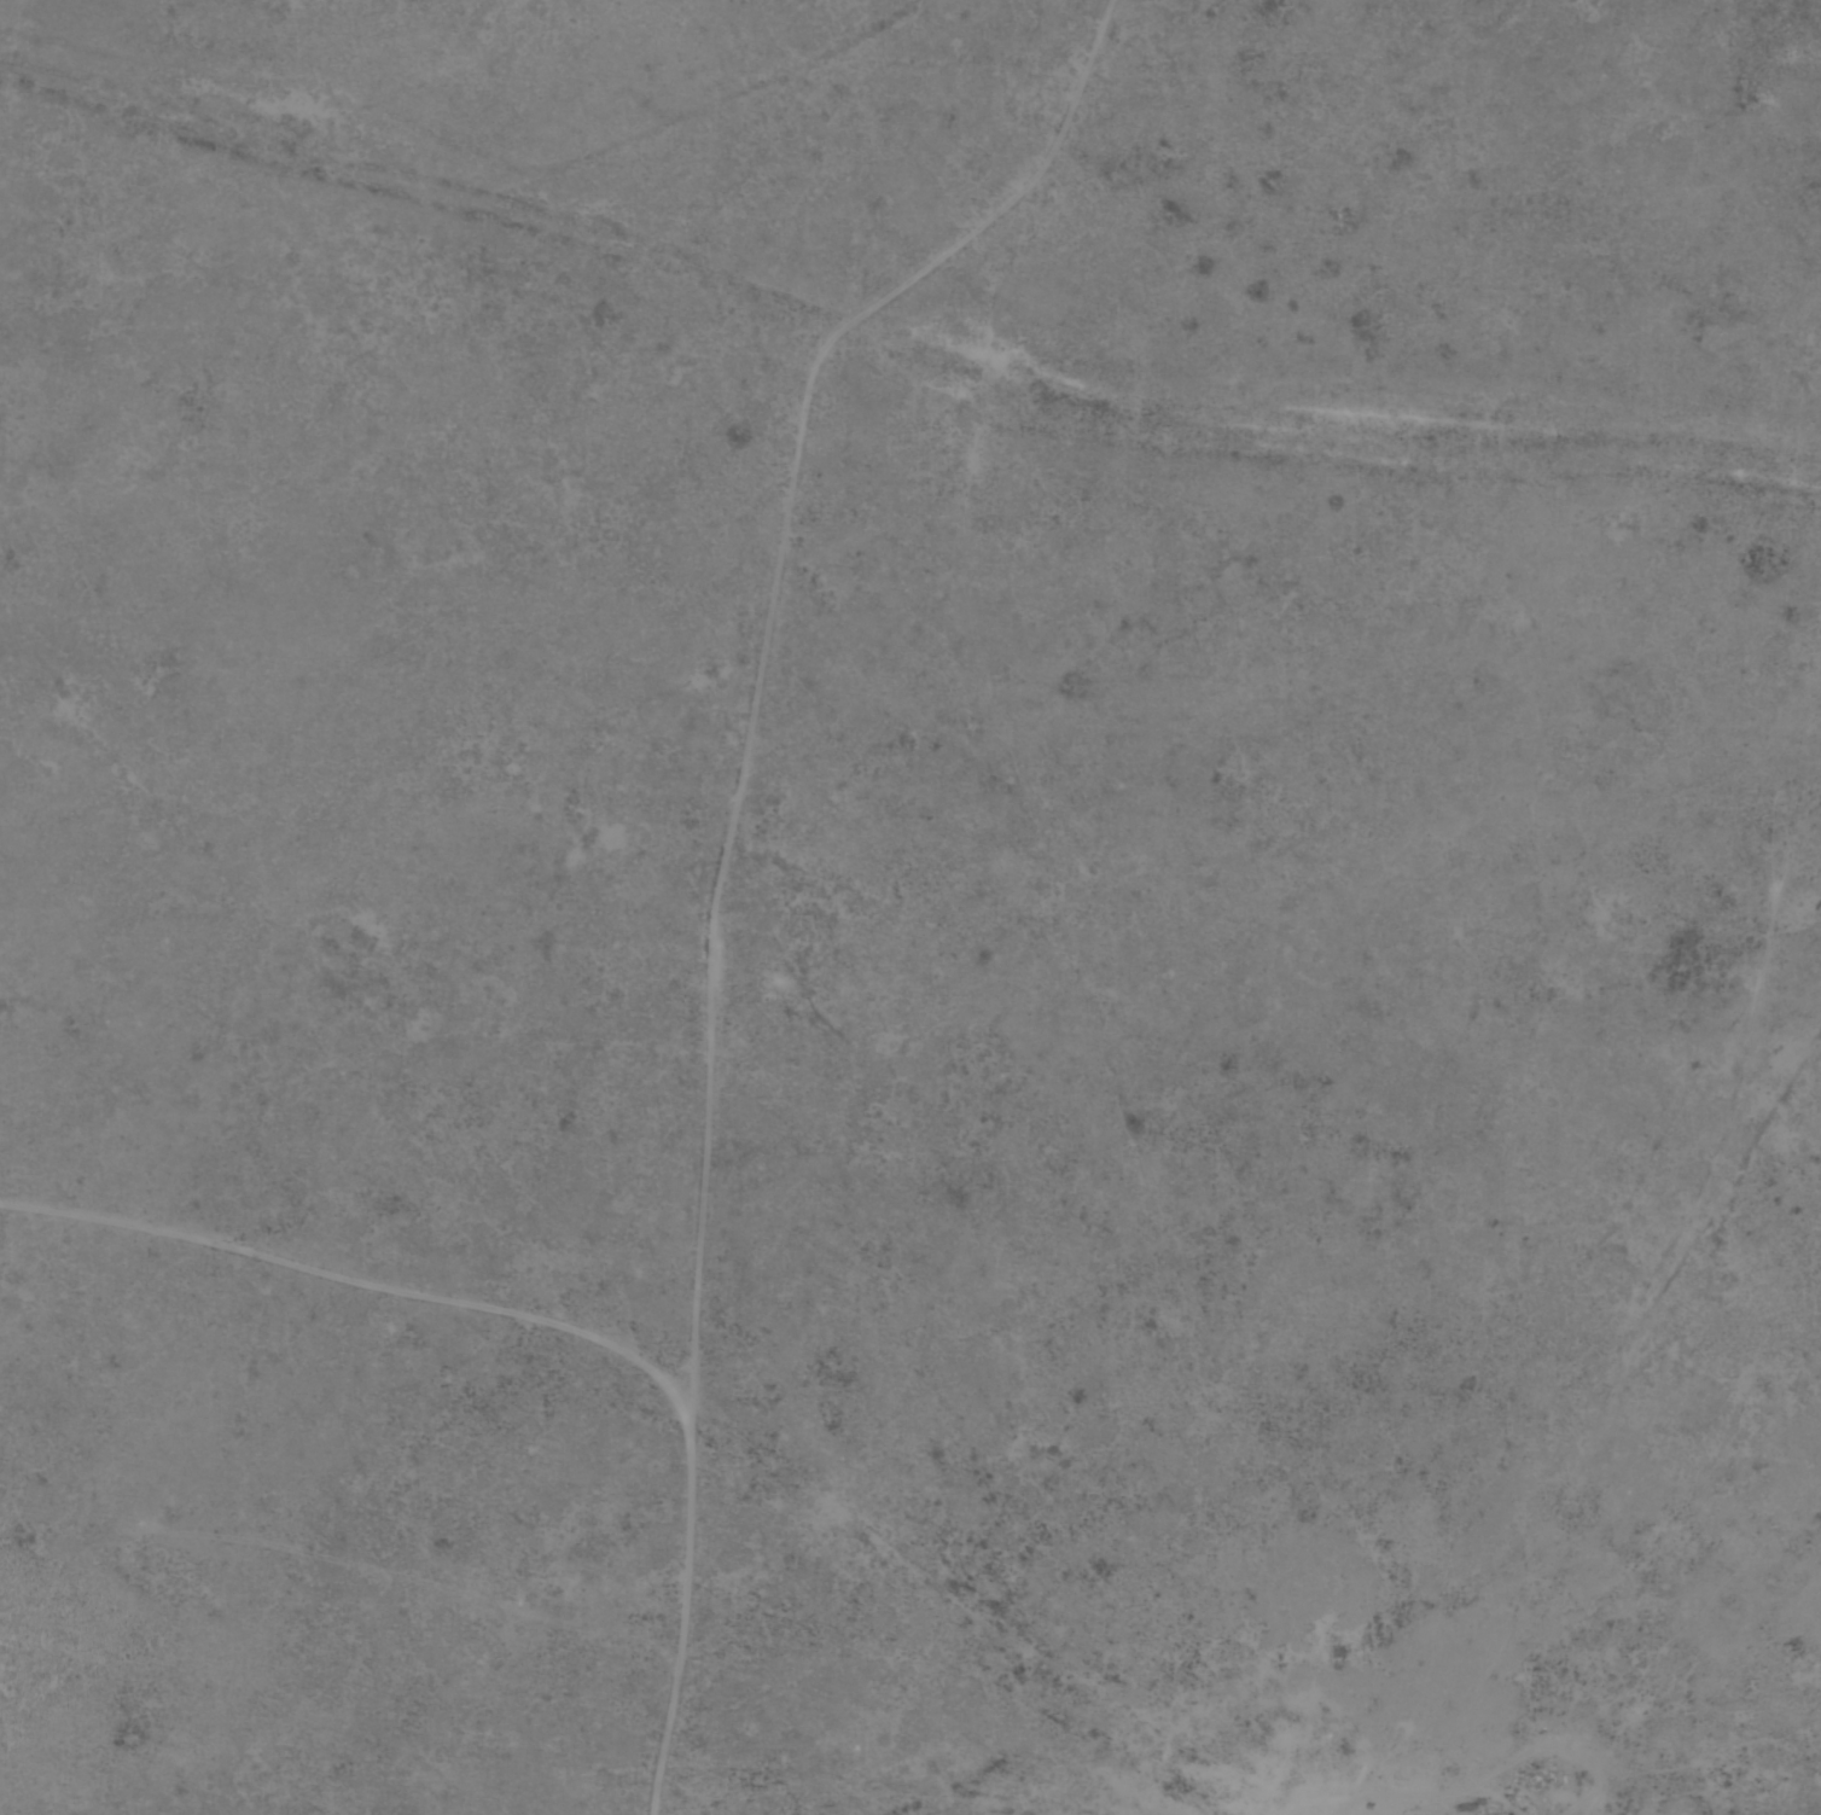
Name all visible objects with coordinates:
road: (559, 1316)

